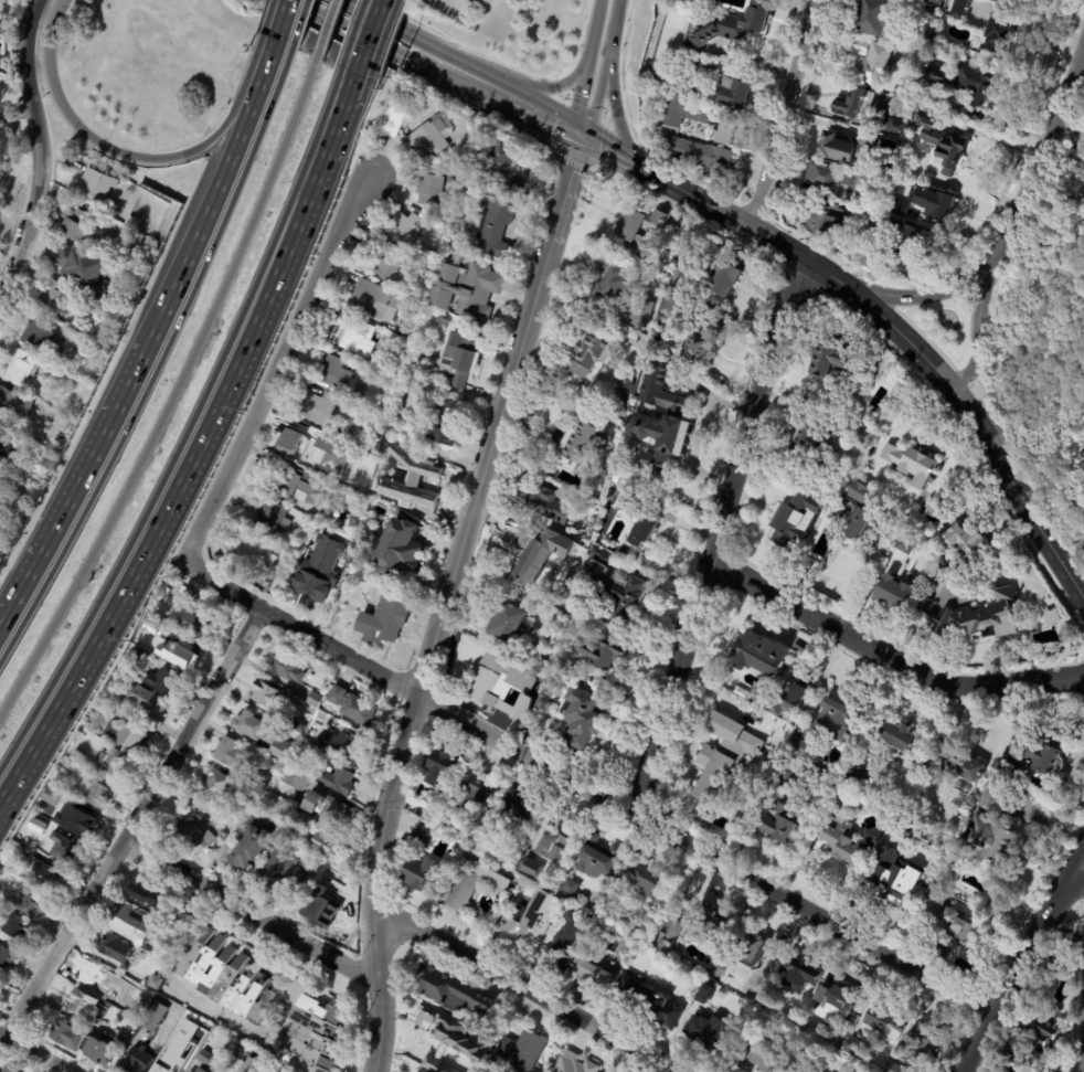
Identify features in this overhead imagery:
building: (936, 1)
building: (956, 9)
road: (589, 14)
building: (871, 15)
building: (931, 15)
road: (280, 21)
road: (299, 24)
building: (733, 25)
road: (613, 28)
railway: (325, 30)
road: (592, 30)
building: (998, 31)
building: (934, 33)
road: (351, 38)
road: (370, 41)
road: (402, 43)
building: (859, 46)
road: (265, 65)
building: (870, 65)
building: (699, 71)
building: (967, 86)
road: (1075, 87)
road: (544, 89)
building: (734, 95)
road: (596, 96)
road: (578, 97)
building: (850, 103)
road: (535, 110)
road: (613, 114)
road: (785, 115)
building: (392, 118)
building: (695, 118)
building: (896, 124)
traffic signals: (581, 136)
building: (428, 137)
building: (943, 140)
road: (35, 147)
building: (846, 149)
road: (105, 150)
road: (1040, 151)
building: (1077, 151)
building: (701, 158)
building: (500, 166)
building: (821, 174)
building: (848, 179)
road: (666, 183)
building: (99, 184)
building: (428, 189)
building: (1075, 192)
building: (897, 194)
building: (938, 205)
road: (204, 219)
building: (821, 219)
building: (132, 222)
building: (84, 224)
building: (637, 225)
building: (870, 226)
building: (495, 227)
building: (406, 230)
building: (904, 236)
road: (777, 245)
building: (132, 246)
building: (385, 262)
building: (84, 266)
building: (678, 276)
building: (721, 278)
road: (830, 278)
building: (613, 285)
building: (464, 288)
road: (929, 295)
building: (54, 298)
road: (981, 298)
building: (78, 301)
building: (375, 303)
building: (668, 305)
building: (107, 311)
building: (644, 317)
park: (943, 326)
building: (41, 332)
building: (350, 335)
building: (702, 340)
building: (592, 352)
building: (459, 355)
road: (158, 360)
building: (825, 361)
road: (273, 363)
road: (969, 365)
building: (22, 367)
road: (931, 367)
building: (332, 373)
building: (373, 373)
building: (621, 388)
road: (986, 393)
railway: (172, 395)
building: (13, 405)
building: (821, 406)
building: (317, 407)
building: (662, 421)
building: (446, 422)
road: (187, 429)
building: (581, 436)
building: (301, 442)
building: (814, 442)
building: (8, 447)
road: (199, 452)
building: (911, 461)
building: (548, 467)
building: (615, 479)
road: (73, 482)
building: (298, 482)
building: (428, 489)
building: (855, 490)
building: (10, 501)
building: (344, 501)
building: (549, 506)
building: (269, 517)
building: (796, 520)
building: (854, 521)
building: (641, 522)
road: (1035, 528)
road: (718, 534)
building: (967, 541)
building: (903, 543)
building: (397, 548)
building: (247, 553)
building: (543, 554)
building: (318, 570)
building: (947, 571)
building: (612, 588)
building: (892, 594)
road: (445, 598)
building: (382, 618)
building: (509, 619)
building: (975, 619)
building: (202, 622)
building: (157, 626)
building: (759, 650)
road: (891, 651)
building: (183, 652)
building: (599, 652)
building: (287, 666)
building: (166, 682)
building: (498, 682)
building: (740, 693)
building: (269, 694)
building: (141, 696)
building: (316, 699)
building: (789, 699)
building: (354, 705)
building: (107, 711)
building: (580, 718)
building: (321, 719)
building: (157, 722)
building: (302, 726)
building: (820, 728)
building: (263, 732)
building: (127, 734)
building: (900, 741)
building: (348, 747)
building: (309, 750)
building: (234, 753)
building: (79, 754)
building: (1044, 757)
building: (120, 762)
building: (72, 766)
building: (714, 766)
building: (439, 767)
building: (1008, 768)
building: (932, 769)
building: (966, 774)
building: (854, 775)
building: (297, 781)
building: (339, 781)
building: (216, 784)
road: (589, 785)
building: (842, 792)
building: (98, 794)
building: (255, 795)
building: (53, 796)
building: (475, 798)
building: (247, 808)
building: (328, 809)
building: (520, 810)
building: (424, 814)
building: (305, 818)
building: (82, 821)
building: (36, 822)
road: (135, 822)
building: (779, 822)
building: (706, 830)
building: (991, 831)
building: (421, 835)
building: (189, 838)
building: (556, 839)
building: (329, 845)
building: (847, 845)
building: (255, 849)
building: (65, 850)
building: (227, 850)
building: (596, 858)
building: (528, 869)
building: (277, 871)
building: (323, 872)
building: (419, 872)
building: (47, 875)
building: (300, 875)
building: (647, 880)
building: (893, 881)
building: (470, 884)
building: (566, 888)
building: (150, 895)
building: (935, 900)
building: (34, 904)
building: (322, 908)
road: (251, 910)
building: (529, 919)
building: (139, 924)
building: (192, 924)
building: (20, 927)
building: (706, 927)
building: (667, 934)
building: (955, 935)
building: (561, 942)
building: (117, 948)
building: (750, 948)
building: (8, 957)
building: (963, 957)
road: (1023, 963)
building: (595, 965)
building: (1055, 967)
building: (719, 969)
building: (797, 975)
building: (103, 976)
building: (232, 977)
building: (156, 981)
building: (0, 988)
road: (522, 989)
building: (449, 991)
building: (765, 997)
building: (831, 1002)
building: (86, 1004)
building: (646, 1004)
building: (140, 1010)
building: (157, 1017)
building: (876, 1022)
building: (451, 1030)
building: (1035, 1031)
building: (706, 1033)
building: (178, 1037)
building: (312, 1037)
building: (123, 1039)
road: (265, 1039)
building: (85, 1043)
building: (921, 1044)
building: (853, 1049)
building: (517, 1053)
building: (755, 1053)
road: (29, 1055)
building: (204, 1057)
building: (437, 1057)
building: (140, 1059)
building: (574, 1062)
building: (251, 1065)
building: (182, 1066)
building: (892, 1068)
building: (163, 1069)
building: (10, 1070)
building: (202, 1070)
building: (213, 1071)
road: (230, 1071)
building: (467, 1071)

